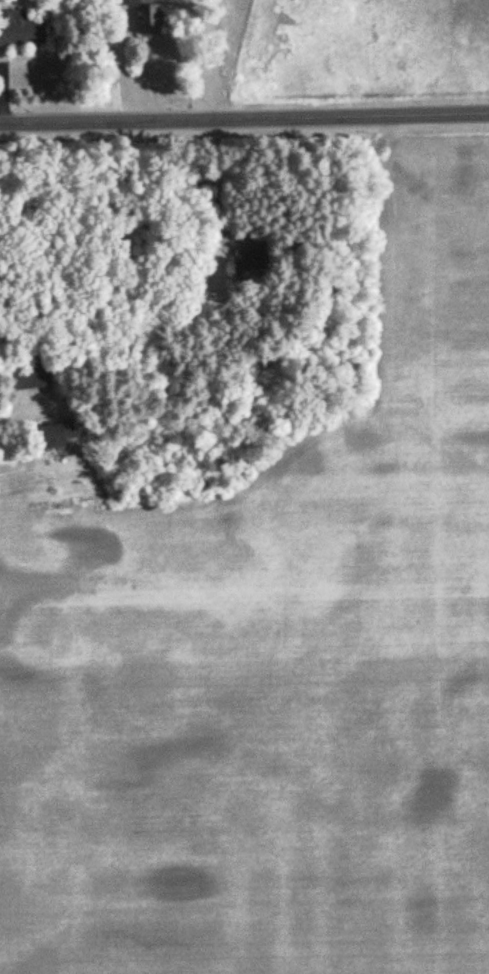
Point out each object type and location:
building: (143, 17)
building: (21, 30)
road: (244, 120)
building: (26, 376)
building: (46, 438)

